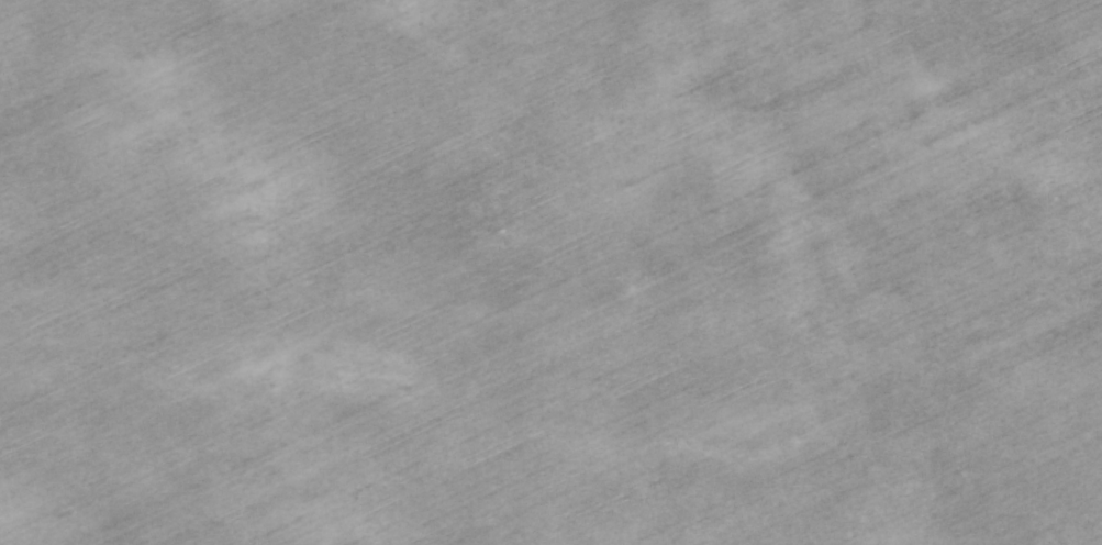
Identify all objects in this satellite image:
crop: (550, 272)

